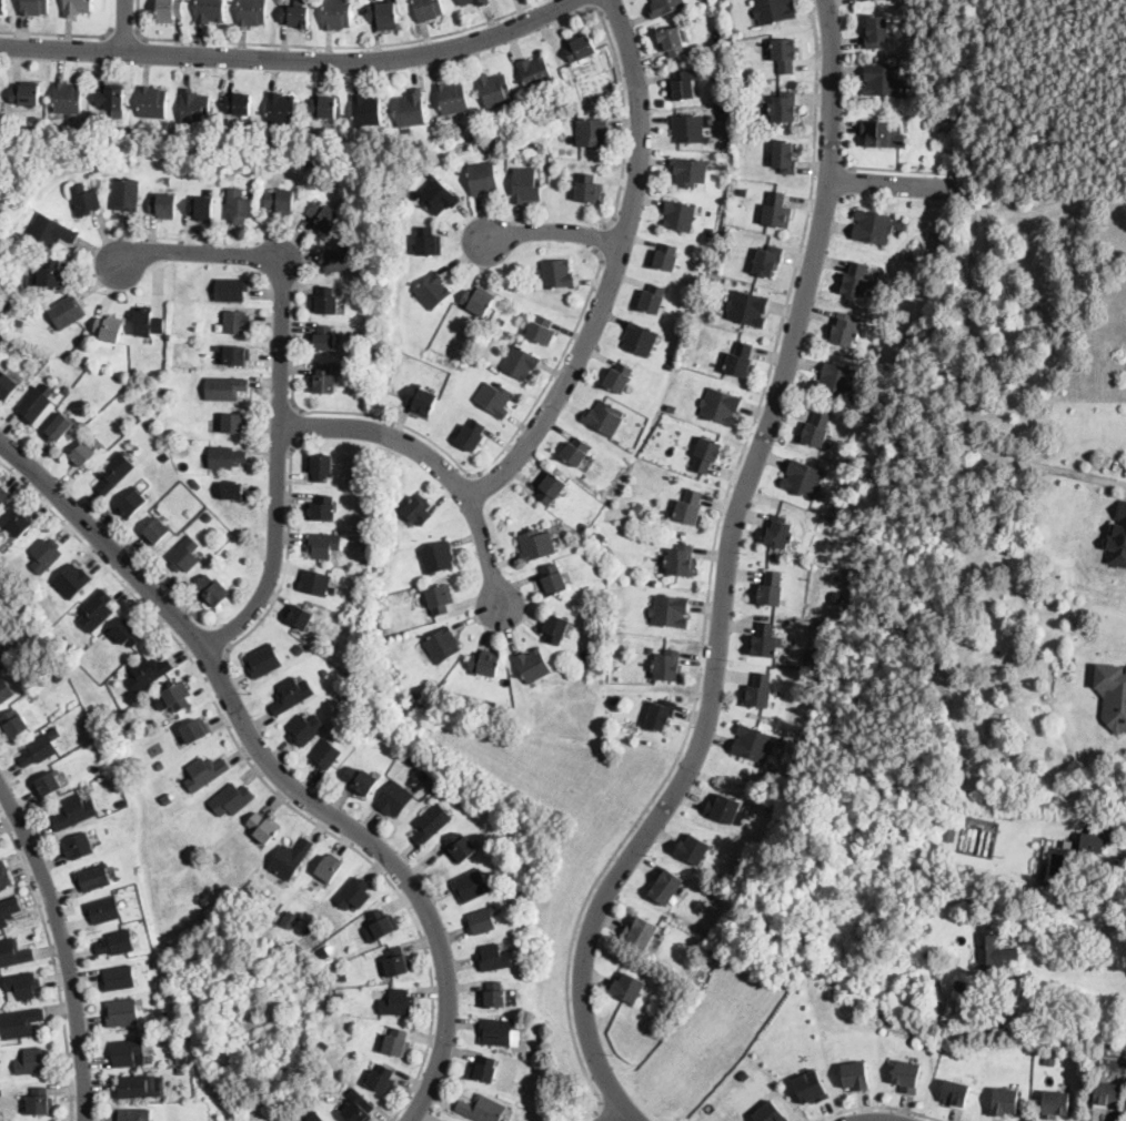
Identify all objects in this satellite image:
building: (475, 2)
road: (591, 4)
building: (2, 7)
building: (36, 7)
building: (665, 7)
building: (77, 8)
building: (429, 9)
building: (170, 10)
building: (773, 10)
building: (211, 11)
building: (252, 12)
building: (338, 13)
building: (384, 16)
building: (298, 17)
road: (125, 26)
road: (124, 32)
building: (876, 32)
road: (58, 36)
building: (670, 41)
road: (326, 46)
building: (717, 48)
building: (581, 49)
building: (783, 53)
road: (292, 60)
building: (535, 73)
building: (883, 80)
building: (740, 84)
building: (682, 87)
building: (495, 90)
road: (833, 90)
building: (27, 93)
building: (68, 98)
building: (453, 98)
building: (113, 99)
building: (153, 101)
building: (240, 103)
building: (194, 107)
building: (281, 108)
building: (325, 108)
building: (783, 108)
building: (411, 109)
building: (368, 111)
building: (724, 111)
building: (932, 113)
road: (626, 117)
building: (687, 128)
building: (593, 132)
building: (876, 133)
building: (458, 138)
building: (48, 149)
building: (783, 159)
road: (831, 165)
road: (896, 171)
building: (690, 173)
building: (168, 179)
building: (482, 179)
road: (894, 184)
building: (526, 185)
building: (589, 189)
building: (743, 192)
building: (127, 194)
building: (439, 195)
building: (84, 200)
building: (281, 201)
building: (164, 206)
building: (239, 206)
building: (202, 209)
building: (776, 212)
building: (678, 215)
building: (324, 216)
building: (872, 226)
building: (51, 231)
road: (556, 231)
road: (192, 239)
road: (604, 240)
building: (428, 242)
building: (727, 248)
building: (665, 257)
building: (341, 260)
building: (767, 260)
road: (616, 269)
building: (52, 274)
building: (555, 274)
building: (856, 281)
building: (232, 290)
building: (433, 291)
building: (654, 299)
building: (326, 300)
building: (479, 301)
building: (748, 307)
building: (8, 309)
building: (68, 312)
building: (217, 314)
building: (502, 321)
building: (149, 322)
building: (20, 323)
building: (237, 323)
building: (110, 329)
building: (542, 330)
building: (844, 331)
building: (324, 339)
building: (641, 340)
building: (235, 355)
building: (738, 360)
building: (521, 363)
building: (668, 366)
building: (325, 378)
building: (621, 378)
building: (835, 381)
road: (282, 385)
building: (7, 386)
building: (67, 387)
building: (167, 388)
building: (227, 388)
building: (423, 398)
building: (495, 398)
building: (34, 405)
building: (721, 405)
building: (672, 407)
building: (604, 418)
building: (234, 423)
road: (301, 426)
building: (60, 428)
building: (815, 430)
building: (474, 436)
building: (88, 452)
building: (576, 452)
building: (706, 454)
building: (224, 457)
road: (1016, 457)
road: (454, 459)
road: (435, 461)
building: (609, 464)
building: (321, 467)
building: (114, 473)
road: (1094, 475)
building: (803, 478)
building: (553, 486)
building: (234, 492)
building: (2, 494)
building: (133, 505)
building: (687, 507)
building: (321, 508)
building: (420, 509)
building: (641, 512)
building: (208, 517)
building: (21, 523)
building: (3, 531)
building: (778, 533)
building: (158, 534)
building: (1118, 537)
building: (602, 538)
building: (583, 543)
building: (536, 544)
building: (323, 545)
building: (46, 555)
building: (185, 555)
building: (436, 557)
road: (288, 559)
building: (681, 560)
road: (711, 572)
building: (72, 580)
building: (554, 580)
building: (315, 583)
building: (771, 589)
building: (213, 590)
building: (441, 599)
building: (97, 610)
building: (670, 610)
building: (300, 616)
building: (379, 629)
building: (557, 629)
building: (128, 633)
building: (764, 642)
building: (443, 645)
building: (69, 646)
building: (299, 648)
building: (650, 648)
building: (785, 649)
building: (812, 657)
building: (263, 660)
building: (486, 663)
building: (533, 665)
building: (668, 666)
building: (584, 667)
building: (355, 668)
road: (716, 668)
road: (215, 670)
building: (325, 671)
building: (149, 673)
building: (59, 676)
building: (6, 689)
building: (760, 691)
building: (1113, 694)
building: (292, 695)
building: (777, 695)
building: (179, 696)
building: (412, 696)
building: (345, 697)
building: (661, 714)
building: (14, 725)
building: (305, 729)
building: (197, 733)
building: (753, 744)
building: (39, 750)
building: (325, 755)
building: (102, 757)
building: (161, 764)
road: (275, 769)
building: (204, 774)
road: (265, 781)
building: (362, 781)
building: (49, 785)
building: (169, 798)
building: (395, 799)
building: (232, 800)
building: (459, 800)
building: (123, 802)
building: (768, 806)
building: (723, 809)
building: (76, 812)
building: (431, 822)
building: (264, 829)
building: (948, 835)
building: (1094, 840)
building: (79, 847)
building: (461, 848)
building: (693, 850)
building: (218, 857)
building: (291, 859)
building: (1042, 866)
building: (330, 868)
building: (1110, 875)
building: (4, 876)
building: (93, 877)
building: (975, 883)
building: (472, 886)
building: (665, 887)
building: (354, 893)
building: (265, 895)
building: (104, 909)
building: (9, 910)
building: (482, 920)
building: (288, 921)
building: (384, 923)
building: (309, 930)
building: (642, 932)
building: (117, 943)
road: (66, 948)
building: (14, 953)
building: (993, 956)
building: (494, 958)
road: (53, 962)
building: (399, 962)
building: (344, 978)
building: (119, 979)
building: (22, 986)
building: (958, 986)
building: (630, 989)
building: (495, 996)
building: (339, 1002)
building: (177, 1003)
building: (399, 1003)
building: (122, 1012)
building: (975, 1018)
road: (1069, 1019)
building: (21, 1022)
building: (497, 1031)
building: (1024, 1031)
building: (398, 1041)
building: (149, 1042)
building: (324, 1046)
building: (128, 1052)
building: (180, 1059)
building: (1049, 1059)
building: (140, 1060)
building: (33, 1062)
building: (485, 1070)
building: (181, 1072)
building: (907, 1075)
building: (744, 1077)
building: (855, 1077)
building: (383, 1080)
building: (133, 1087)
building: (811, 1089)
building: (955, 1093)
building: (1108, 1093)
building: (1005, 1101)
building: (41, 1102)
building: (1056, 1103)
building: (710, 1107)
road: (881, 1107)
building: (359, 1108)
building: (483, 1109)
road: (616, 1113)
building: (770, 1113)
building: (134, 1114)
road: (609, 1114)
building: (242, 1115)
building: (320, 1118)

